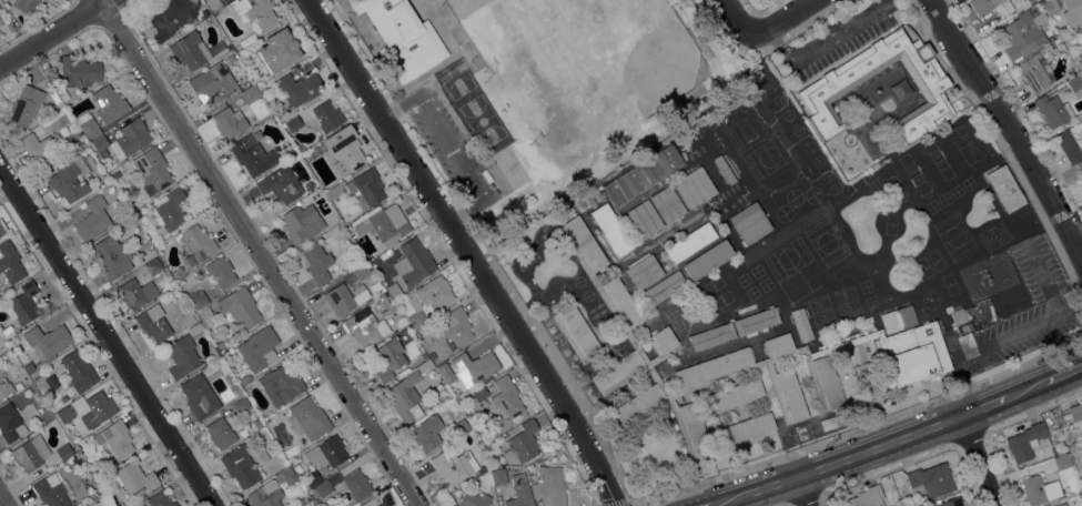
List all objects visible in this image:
building: (215, 3)
building: (26, 6)
building: (1050, 6)
road: (760, 9)
building: (1072, 12)
building: (256, 13)
building: (984, 13)
building: (173, 14)
road: (739, 20)
road: (783, 20)
park: (510, 23)
building: (199, 27)
building: (10, 28)
road: (51, 32)
road: (454, 34)
building: (1024, 34)
building: (402, 37)
building: (156, 43)
road: (768, 49)
building: (190, 50)
building: (277, 51)
park: (583, 68)
building: (79, 71)
building: (1033, 73)
road: (429, 77)
park: (601, 78)
building: (1074, 83)
building: (212, 84)
park: (538, 85)
building: (299, 88)
building: (821, 89)
building: (250, 94)
building: (109, 103)
building: (26, 105)
road: (1019, 105)
park: (475, 111)
building: (1053, 111)
building: (326, 115)
building: (229, 122)
building: (293, 122)
building: (252, 124)
road: (1009, 124)
building: (88, 125)
building: (123, 140)
building: (1071, 142)
parking lot: (447, 145)
road: (1001, 145)
road: (451, 149)
building: (344, 150)
building: (40, 151)
building: (254, 153)
road: (478, 153)
building: (152, 169)
building: (724, 170)
building: (1081, 170)
building: (115, 174)
building: (641, 174)
building: (69, 180)
building: (310, 184)
building: (280, 185)
building: (365, 188)
building: (694, 188)
building: (1004, 188)
building: (335, 190)
building: (667, 204)
building: (171, 210)
building: (645, 219)
building: (92, 220)
building: (302, 223)
building: (749, 223)
building: (384, 225)
building: (3, 229)
building: (610, 230)
building: (199, 242)
building: (689, 242)
road: (466, 251)
road: (261, 252)
building: (111, 256)
building: (708, 259)
building: (316, 262)
building: (413, 262)
building: (10, 263)
building: (154, 265)
building: (220, 271)
building: (362, 271)
building: (643, 272)
building: (661, 287)
building: (136, 293)
building: (348, 296)
building: (198, 298)
building: (427, 298)
building: (23, 304)
building: (239, 307)
building: (205, 314)
building: (958, 315)
building: (897, 317)
building: (756, 321)
building: (153, 323)
building: (801, 324)
building: (365, 326)
building: (454, 326)
building: (195, 328)
building: (711, 336)
road: (108, 337)
building: (47, 341)
road: (994, 341)
building: (259, 348)
building: (215, 352)
building: (432, 355)
building: (182, 356)
building: (388, 358)
building: (726, 364)
building: (221, 365)
building: (475, 367)
building: (78, 371)
building: (446, 372)
building: (243, 379)
building: (282, 383)
building: (4, 387)
building: (199, 396)
building: (506, 396)
building: (405, 397)
building: (64, 398)
building: (241, 406)
building: (97, 409)
building: (64, 415)
building: (1073, 415)
building: (307, 418)
building: (10, 423)
building: (459, 427)
building: (426, 433)
building: (220, 434)
building: (115, 438)
road: (900, 442)
building: (1024, 442)
building: (522, 444)
road: (608, 451)
building: (63, 452)
building: (327, 452)
building: (30, 453)
building: (260, 455)
road: (984, 462)
building: (1062, 462)
building: (240, 465)
building: (448, 465)
building: (474, 474)
building: (498, 476)
building: (285, 477)
building: (131, 478)
building: (311, 478)
building: (931, 479)
building: (327, 484)
building: (549, 486)
building: (356, 488)
building: (51, 490)
building: (1039, 490)
building: (519, 492)
road: (802, 492)
building: (265, 495)
building: (866, 497)
road: (3, 499)
building: (160, 499)
building: (303, 499)
building: (473, 499)
building: (83, 500)
building: (950, 503)
building: (296, 504)
building: (318, 504)
building: (365, 504)
building: (376, 504)
building: (382, 504)
building: (1062, 505)

